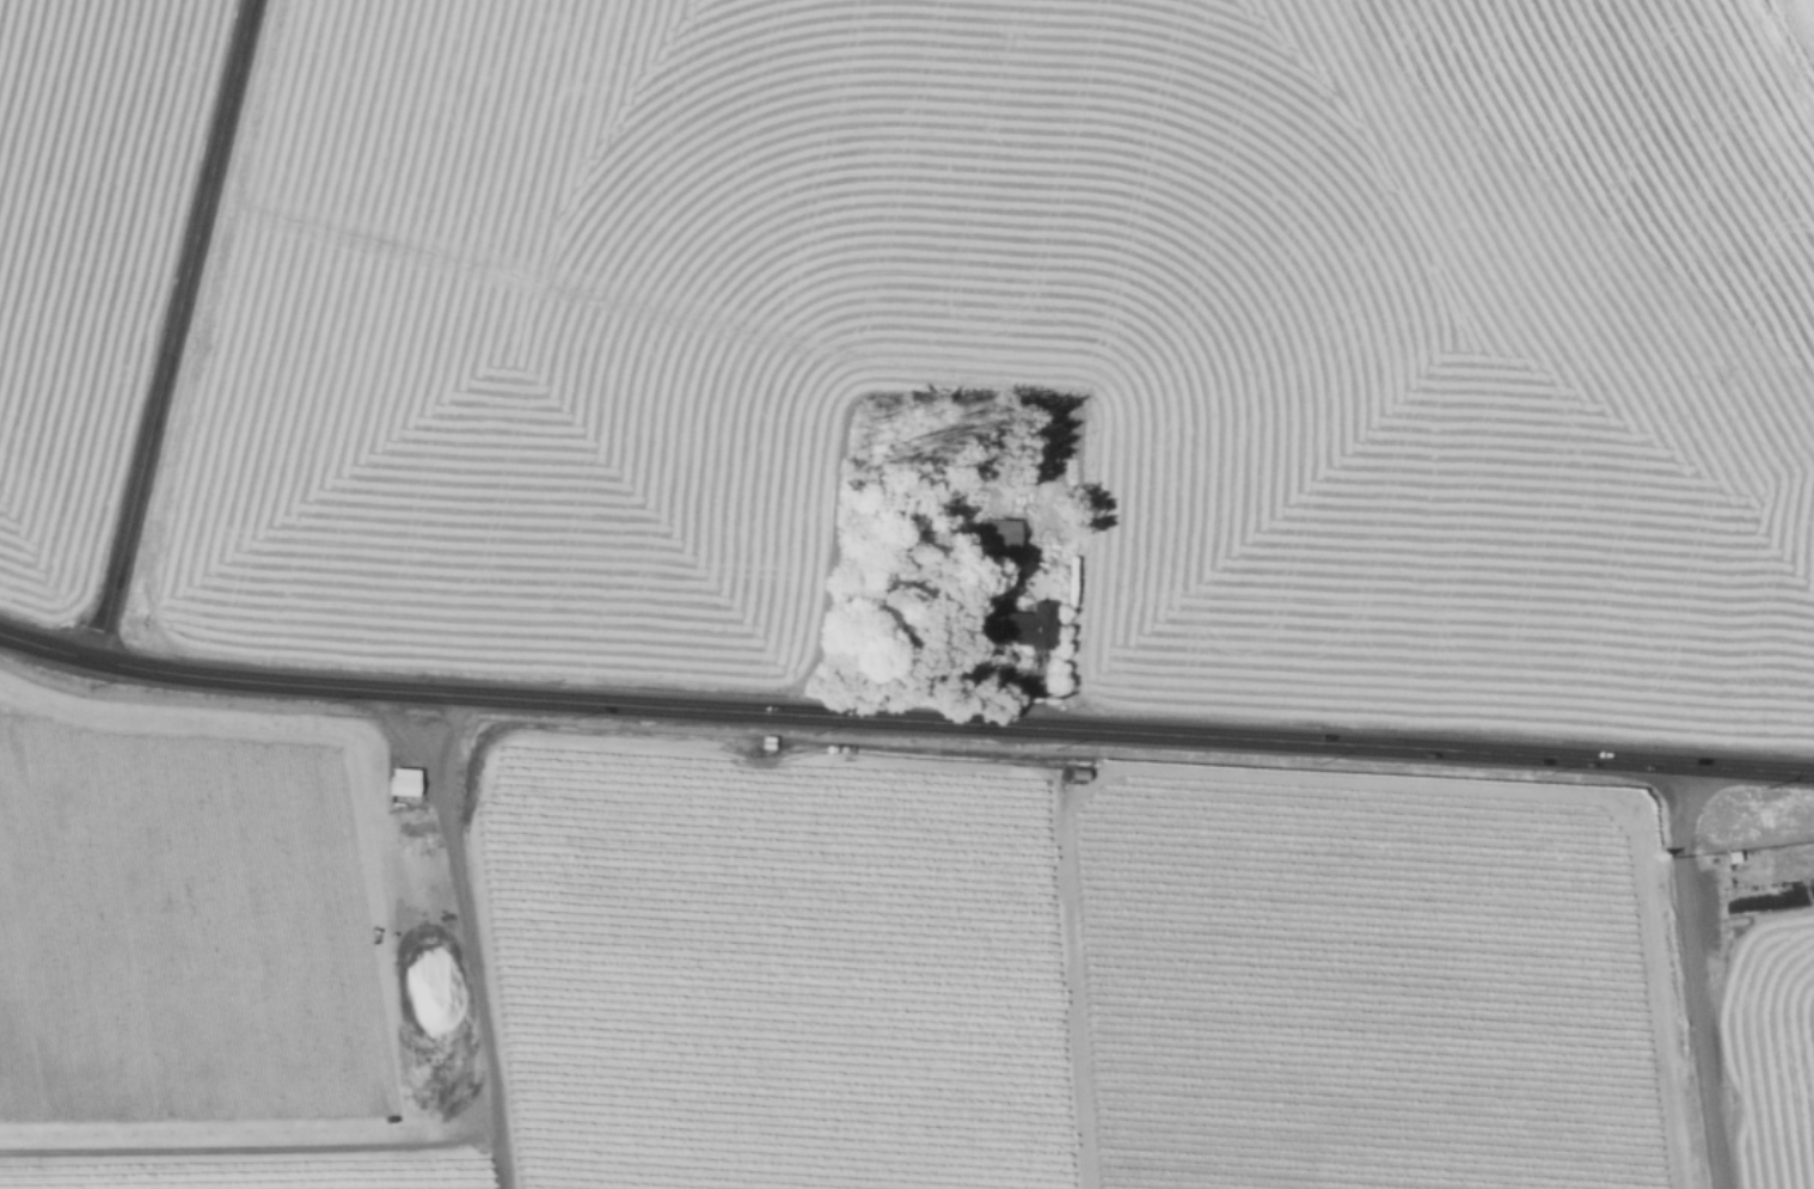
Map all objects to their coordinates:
crop: (1807, 12)
crop: (84, 257)
road: (170, 327)
crop: (1022, 338)
building: (1001, 533)
building: (1019, 623)
road: (905, 716)
building: (770, 741)
building: (1078, 772)
building: (406, 779)
building: (1730, 854)
building: (1761, 893)
road: (471, 940)
crop: (866, 964)
road: (1698, 975)
road: (251, 1145)

